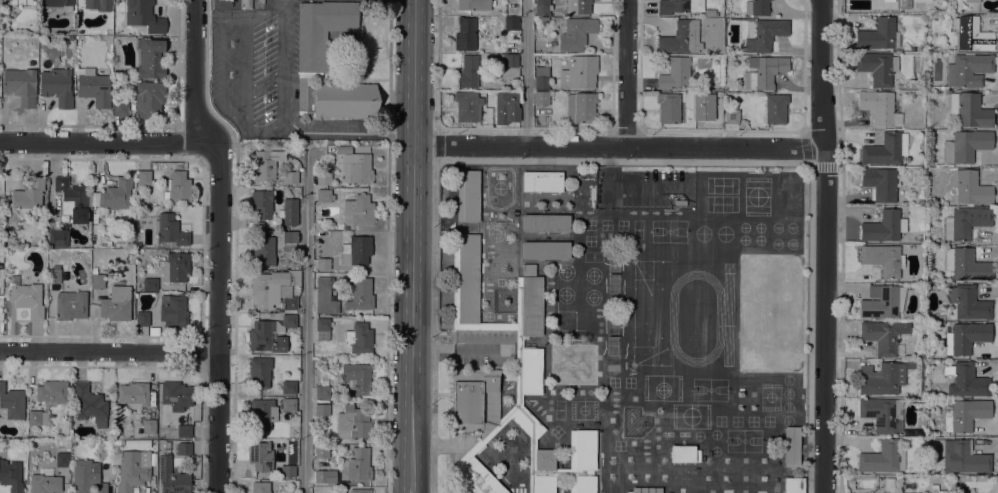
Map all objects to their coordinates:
building: (888, 0)
building: (925, 0)
building: (971, 1)
building: (21, 2)
road: (285, 3)
building: (59, 4)
building: (98, 4)
building: (475, 4)
building: (905, 4)
building: (578, 6)
building: (676, 6)
building: (757, 7)
building: (542, 8)
road: (265, 10)
building: (144, 16)
building: (543, 19)
building: (511, 23)
building: (321, 30)
building: (575, 33)
building: (465, 34)
building: (971, 34)
building: (765, 35)
building: (878, 35)
building: (680, 37)
building: (716, 47)
building: (149, 57)
building: (510, 60)
road: (223, 63)
road: (436, 63)
building: (877, 67)
road: (281, 68)
building: (968, 69)
road: (246, 70)
building: (579, 71)
building: (763, 71)
road: (194, 72)
building: (467, 73)
road: (524, 73)
road: (627, 73)
building: (675, 73)
building: (117, 74)
building: (541, 82)
building: (21, 85)
building: (57, 86)
building: (93, 87)
building: (942, 88)
building: (541, 98)
building: (341, 99)
building: (149, 100)
building: (877, 105)
building: (467, 106)
building: (580, 107)
building: (669, 107)
building: (120, 108)
building: (775, 108)
building: (969, 110)
building: (512, 114)
building: (712, 116)
building: (731, 116)
road: (263, 128)
road: (333, 130)
road: (400, 132)
road: (105, 141)
building: (329, 143)
road: (621, 146)
building: (965, 146)
building: (268, 147)
building: (359, 148)
building: (340, 149)
building: (882, 150)
road: (622, 162)
building: (265, 164)
building: (358, 169)
building: (143, 177)
building: (290, 177)
building: (323, 178)
building: (542, 181)
building: (880, 183)
building: (178, 187)
building: (970, 187)
building: (114, 195)
building: (324, 195)
building: (28, 196)
building: (468, 196)
building: (72, 199)
building: (261, 203)
building: (359, 209)
building: (289, 211)
building: (1, 215)
building: (6, 215)
building: (40, 217)
building: (130, 222)
building: (965, 222)
building: (545, 223)
building: (885, 226)
building: (130, 229)
building: (169, 229)
building: (289, 236)
building: (57, 238)
road: (414, 243)
road: (388, 246)
road: (825, 246)
building: (356, 250)
building: (545, 250)
building: (263, 251)
building: (881, 259)
building: (323, 264)
building: (966, 264)
building: (175, 267)
building: (94, 269)
building: (53, 274)
building: (97, 281)
building: (465, 281)
building: (150, 284)
building: (138, 285)
building: (270, 287)
building: (5, 289)
building: (360, 294)
building: (325, 297)
building: (28, 299)
building: (882, 301)
building: (966, 303)
building: (116, 304)
building: (289, 304)
building: (70, 305)
building: (172, 311)
road: (217, 315)
building: (142, 319)
road: (304, 320)
building: (497, 326)
building: (322, 329)
building: (154, 331)
building: (528, 331)
building: (270, 333)
building: (883, 335)
building: (965, 337)
building: (359, 338)
road: (459, 348)
road: (108, 350)
building: (259, 372)
building: (357, 378)
building: (880, 380)
building: (967, 381)
building: (324, 382)
building: (288, 387)
building: (51, 392)
building: (322, 392)
building: (133, 395)
building: (175, 395)
building: (518, 399)
building: (476, 401)
building: (12, 402)
building: (90, 404)
building: (288, 404)
building: (322, 410)
building: (882, 413)
building: (263, 414)
building: (964, 414)
building: (37, 418)
building: (522, 421)
building: (352, 423)
building: (148, 426)
building: (184, 431)
building: (936, 432)
building: (264, 434)
building: (314, 439)
building: (532, 443)
building: (167, 444)
building: (791, 446)
building: (184, 449)
building: (322, 452)
building: (682, 453)
building: (260, 456)
building: (963, 457)
building: (882, 458)
building: (62, 460)
building: (581, 461)
building: (356, 465)
building: (133, 469)
building: (541, 470)
building: (287, 471)
building: (561, 472)
building: (475, 473)
building: (11, 476)
building: (171, 476)
building: (321, 476)
building: (87, 477)
building: (44, 482)
building: (889, 484)
building: (793, 485)
building: (260, 487)
building: (935, 489)
road: (412, 490)
building: (646, 490)
building: (360, 491)

